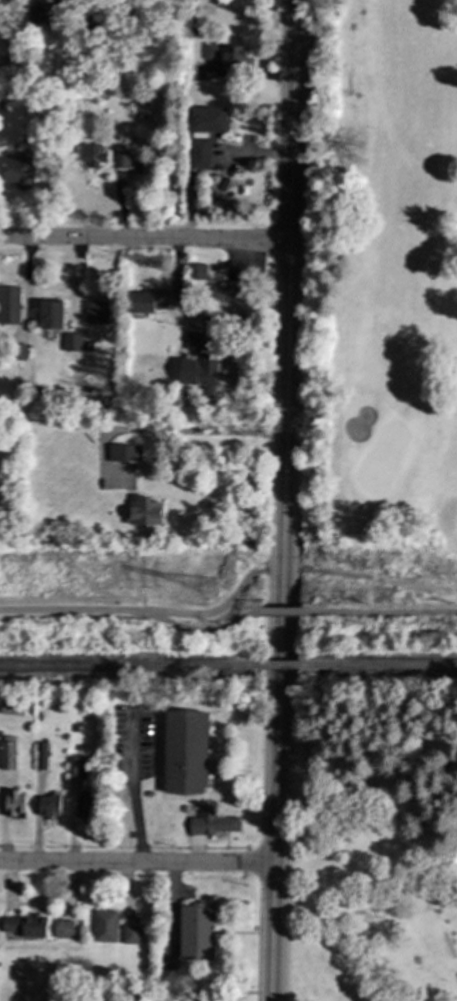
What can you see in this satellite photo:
building: (32, 16)
building: (95, 23)
building: (227, 55)
building: (208, 120)
building: (199, 153)
building: (92, 155)
building: (119, 159)
building: (18, 171)
road: (144, 239)
building: (196, 271)
park: (381, 275)
building: (226, 294)
building: (145, 301)
building: (9, 304)
building: (96, 312)
building: (51, 314)
building: (197, 341)
building: (71, 342)
building: (20, 352)
building: (199, 373)
road: (143, 431)
building: (125, 452)
road: (285, 500)
building: (145, 510)
power tower: (211, 589)
road: (222, 608)
road: (135, 612)
road: (286, 612)
road: (383, 612)
railway: (380, 666)
railway: (129, 667)
railway: (280, 667)
building: (11, 706)
building: (184, 752)
building: (7, 755)
building: (41, 755)
building: (75, 769)
building: (14, 803)
building: (85, 805)
road: (136, 812)
building: (212, 823)
park: (375, 852)
road: (135, 865)
road: (171, 912)
building: (25, 925)
building: (112, 928)
building: (63, 929)
building: (195, 930)
parking lot: (456, 975)

